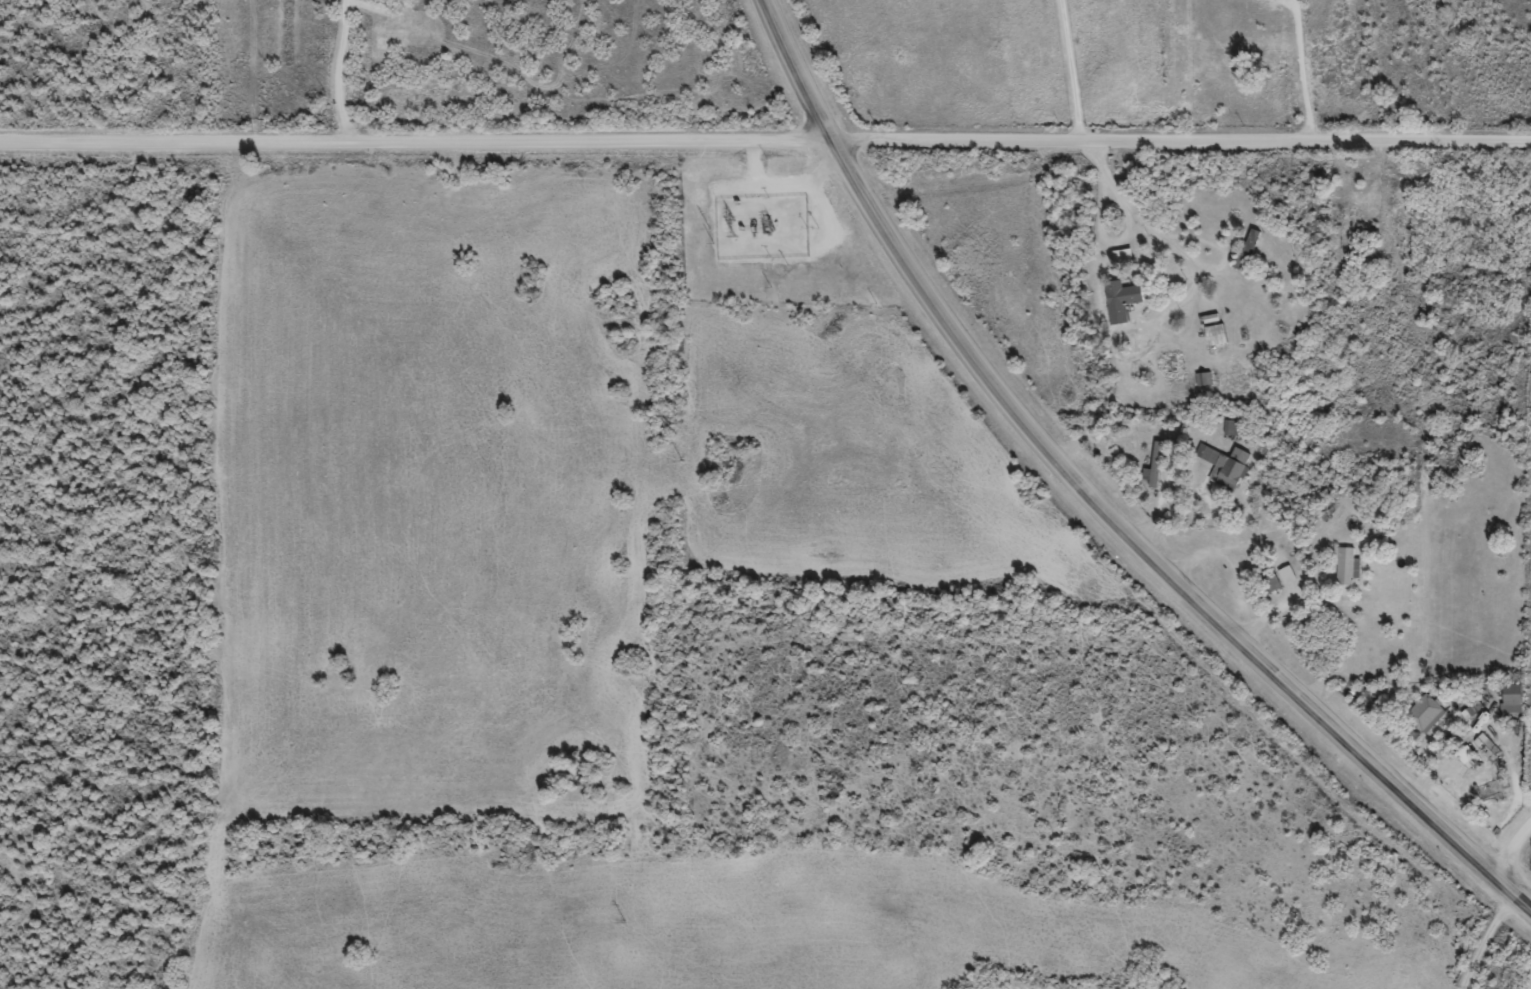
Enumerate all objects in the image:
building: (1260, 0)
road: (1069, 68)
road: (337, 69)
road: (765, 137)
power substation: (761, 226)
building: (1245, 256)
building: (1120, 263)
building: (1118, 307)
building: (1213, 342)
building: (1202, 386)
building: (1155, 469)
building: (1223, 472)
road: (1092, 499)
building: (1343, 572)
building: (1285, 581)
building: (1269, 590)
building: (1510, 705)
building: (1424, 720)
building: (1465, 721)
building: (1480, 729)
building: (1486, 752)
building: (1465, 764)
road: (1508, 843)
road: (1484, 942)

